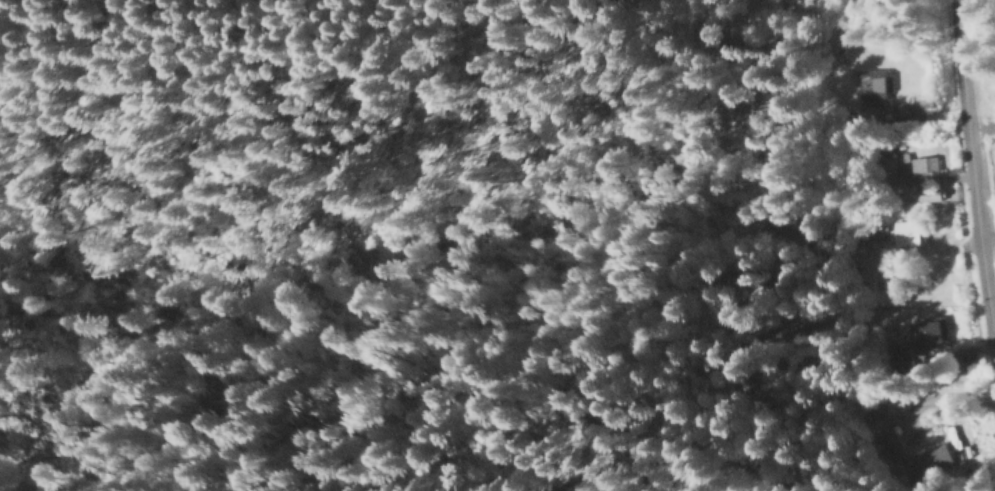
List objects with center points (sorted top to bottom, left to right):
building: (875, 84)
building: (924, 163)
road: (976, 188)
building: (929, 193)
building: (897, 231)
building: (927, 332)
building: (916, 455)

